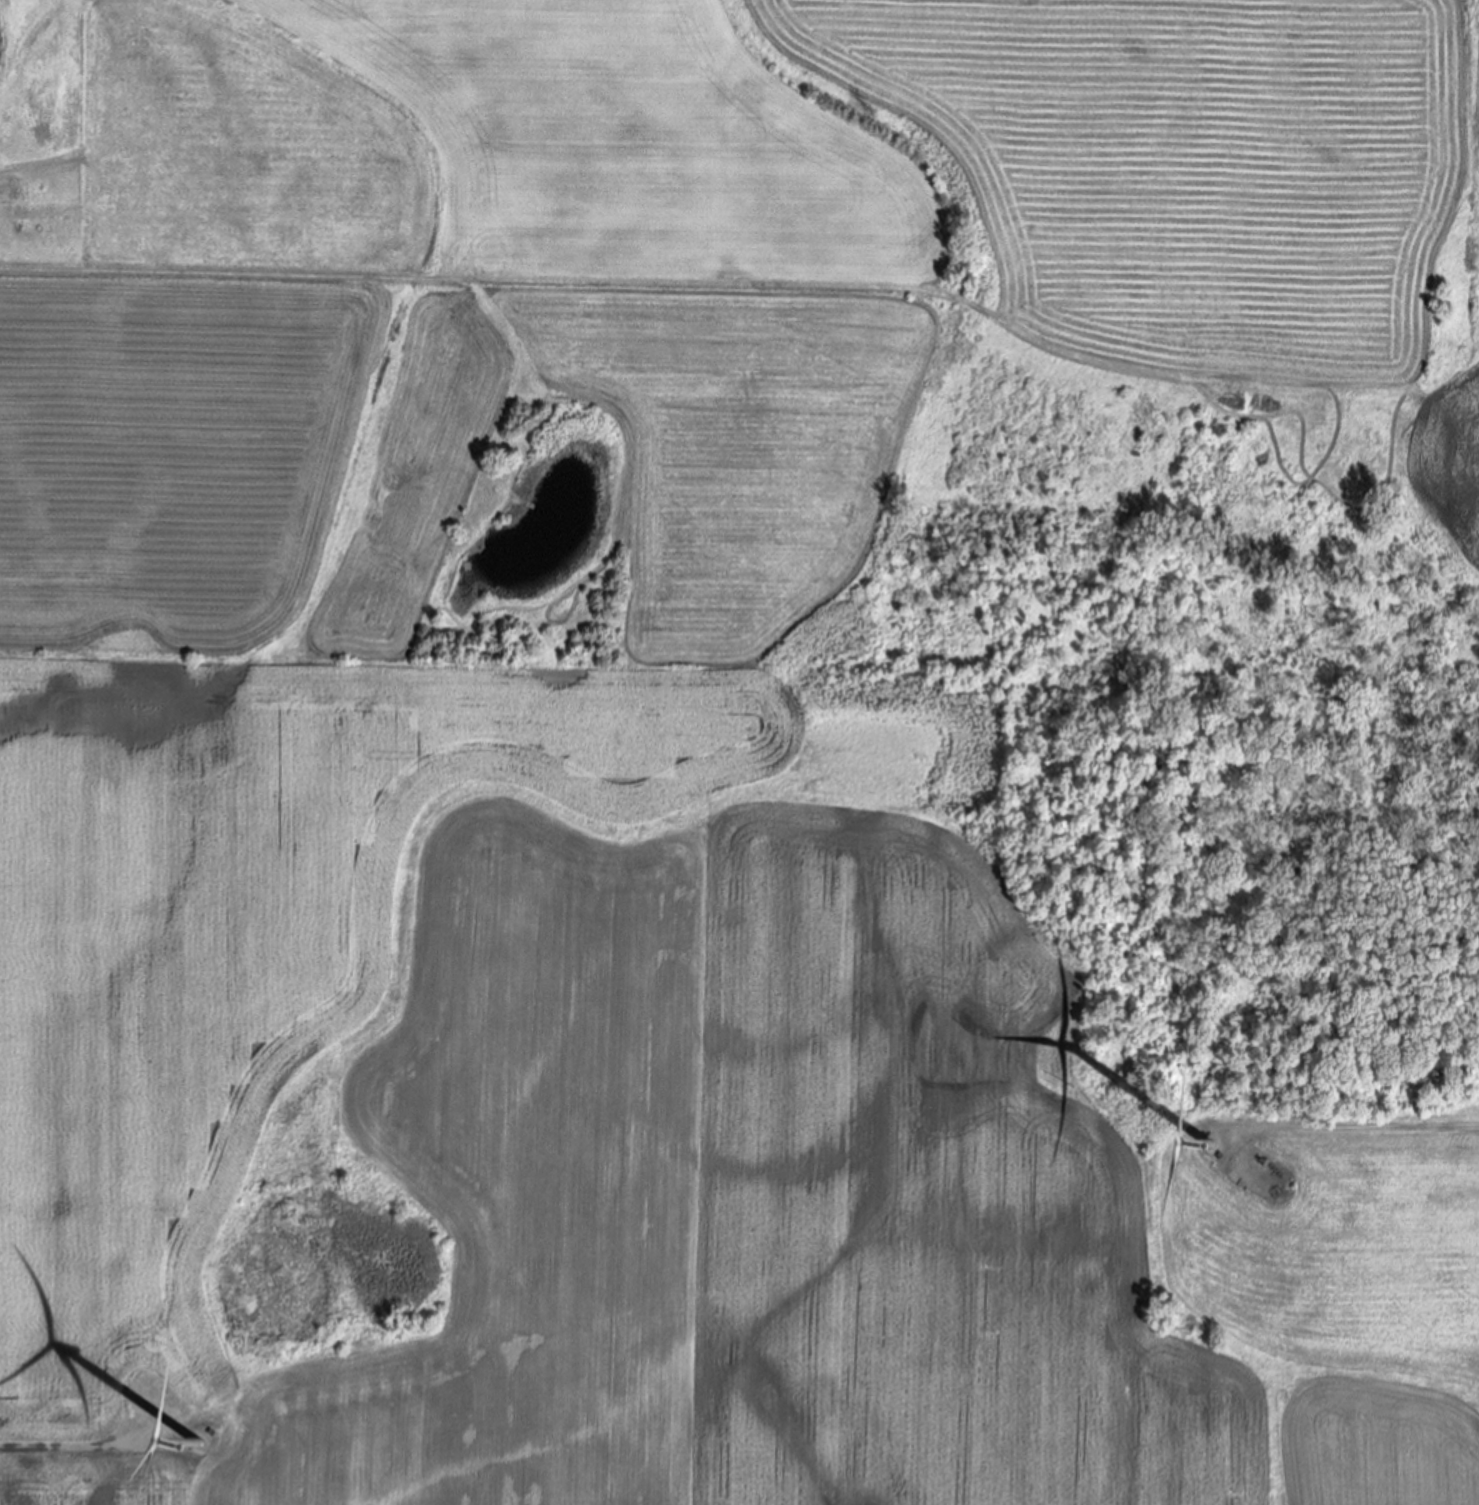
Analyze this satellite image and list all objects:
road: (1358, 1129)
wind turbine: (1204, 1143)
wind turbine: (195, 1442)
road: (77, 1449)

